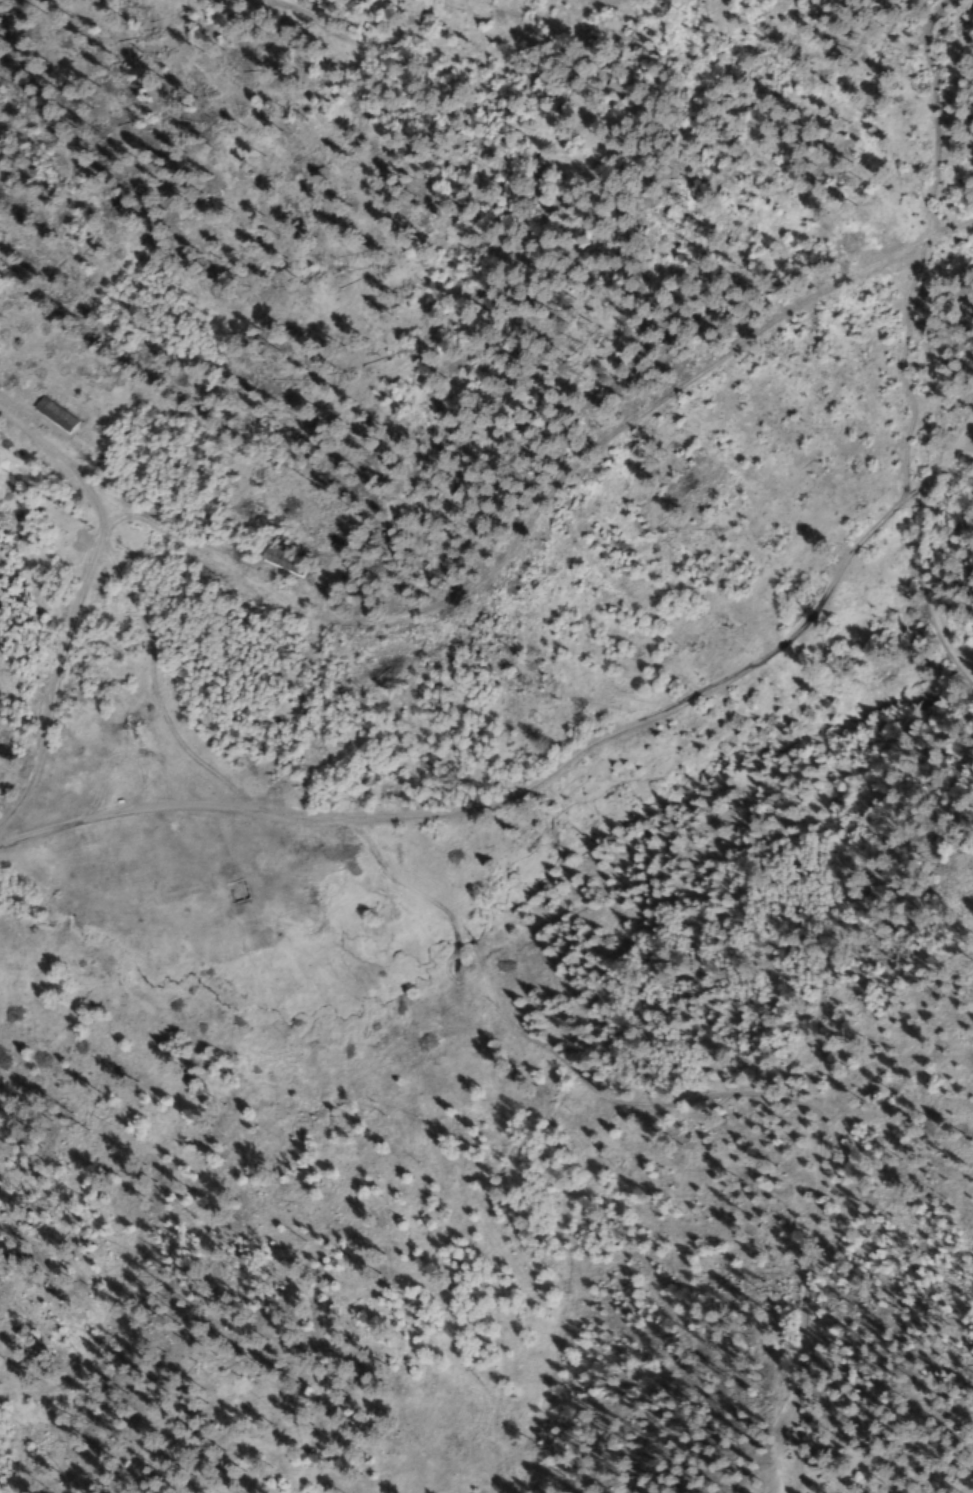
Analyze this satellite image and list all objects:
road: (914, 248)
road: (965, 432)
road: (965, 445)
building: (276, 560)
road: (922, 566)
road: (81, 603)
road: (515, 790)
building: (235, 890)

